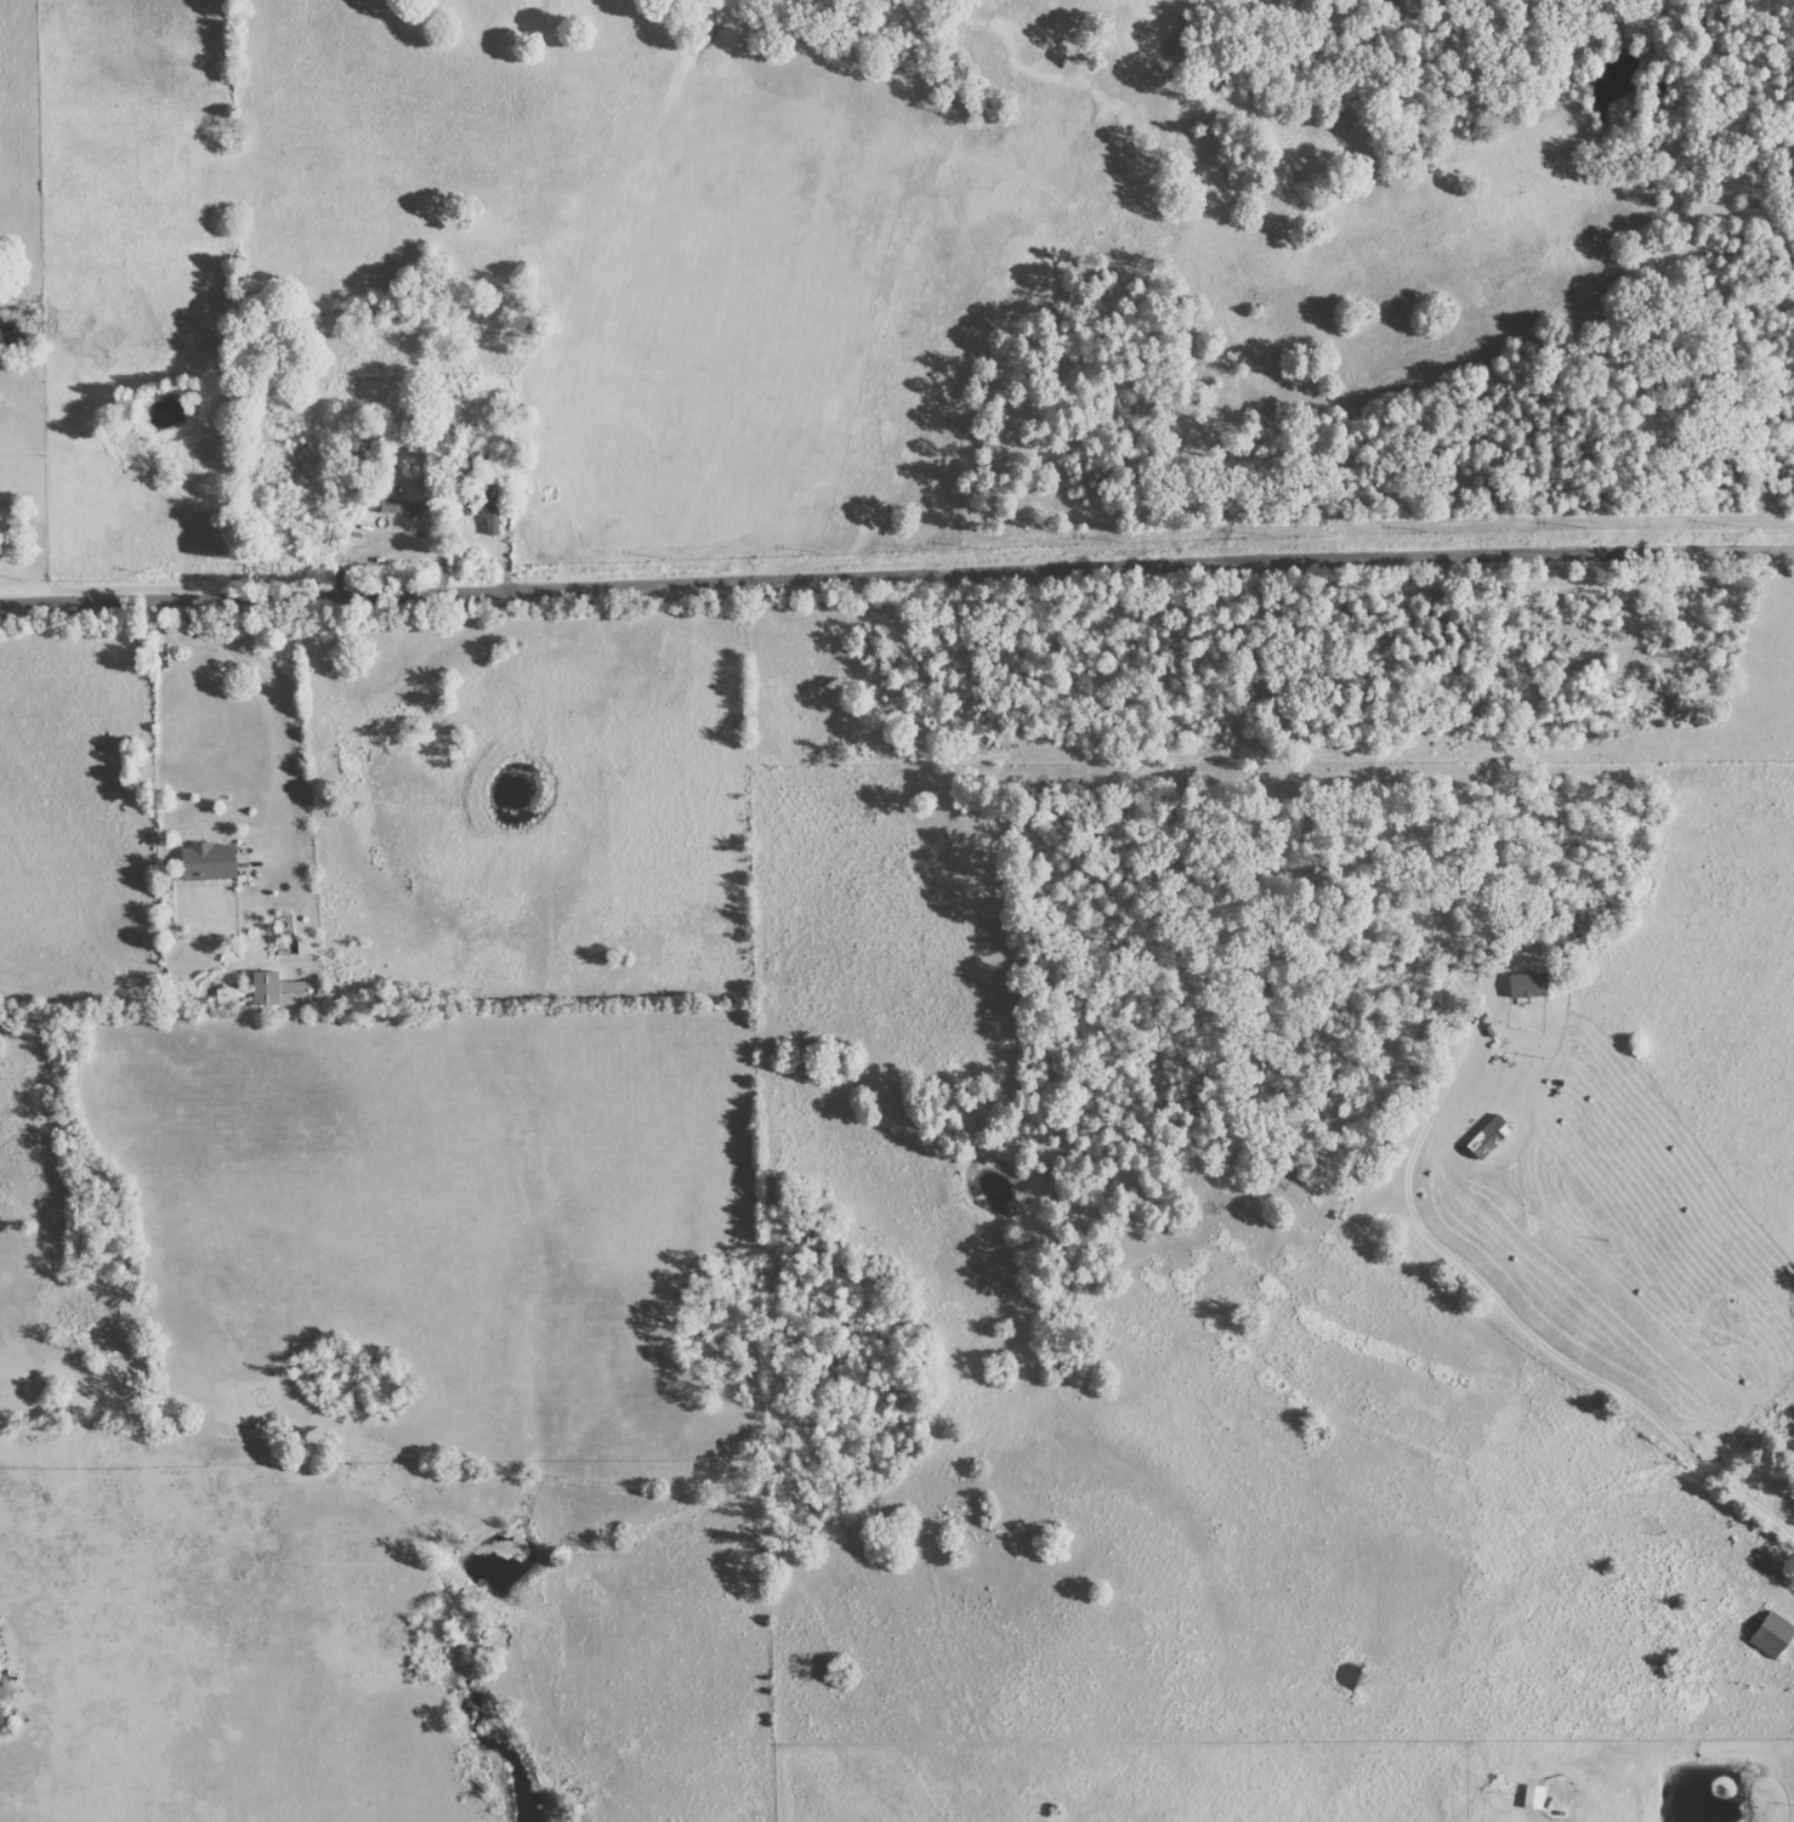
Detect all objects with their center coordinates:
building: (493, 506)
building: (402, 507)
road: (896, 577)
building: (209, 862)
building: (305, 948)
building: (1529, 986)
building: (279, 991)
building: (232, 997)
building: (1659, 1616)
building: (1773, 1634)
building: (1534, 1797)

